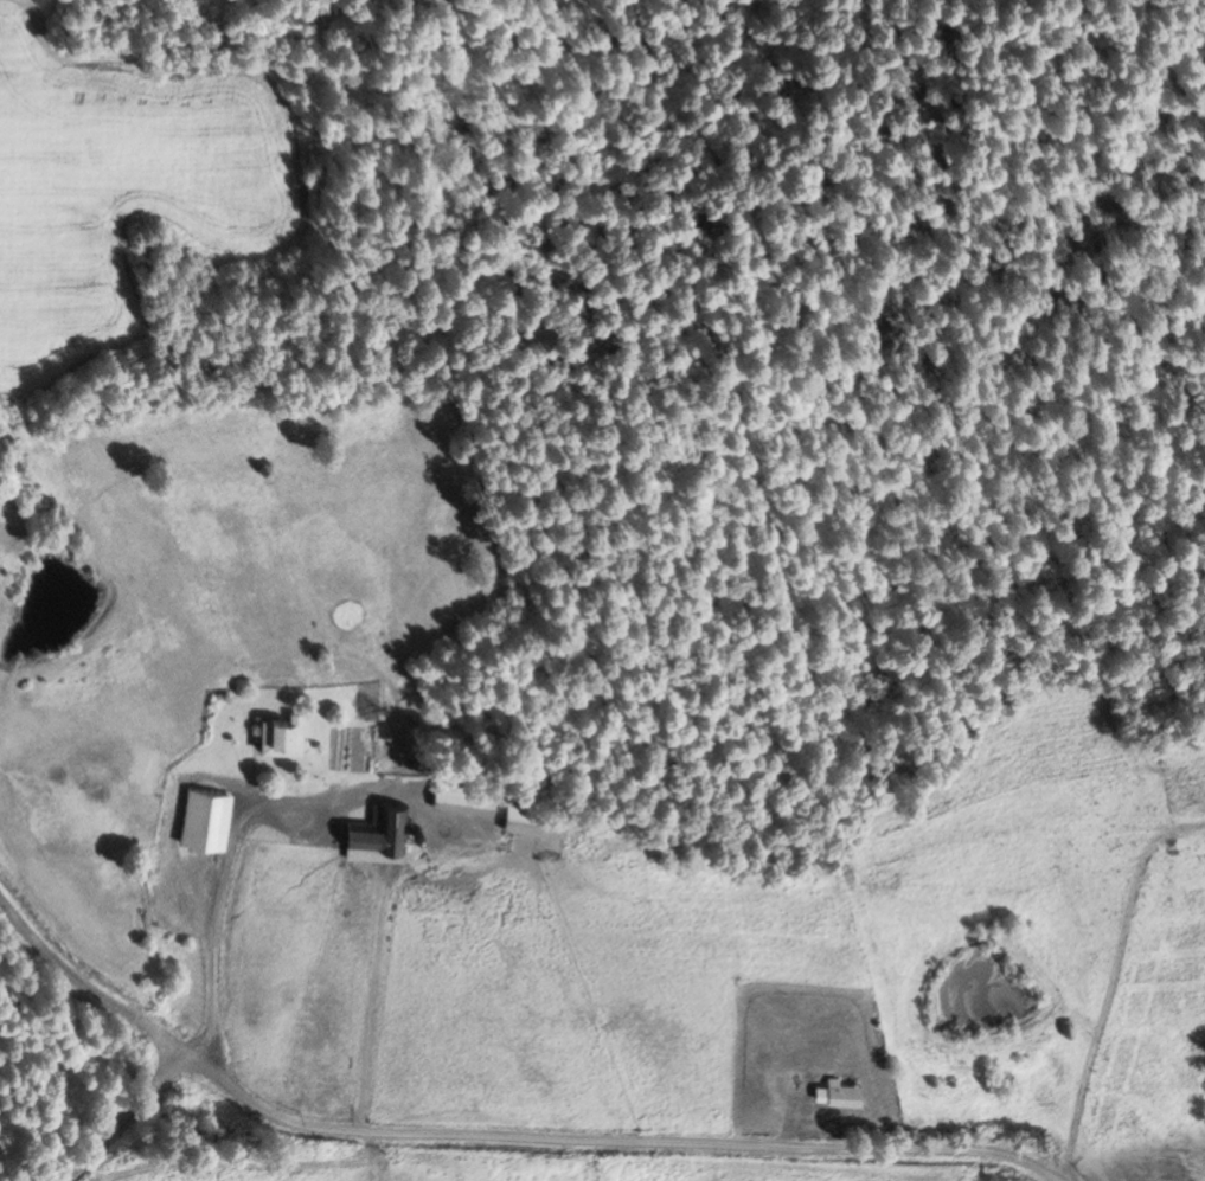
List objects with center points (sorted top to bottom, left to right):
road: (132, 1118)
road: (495, 1134)

